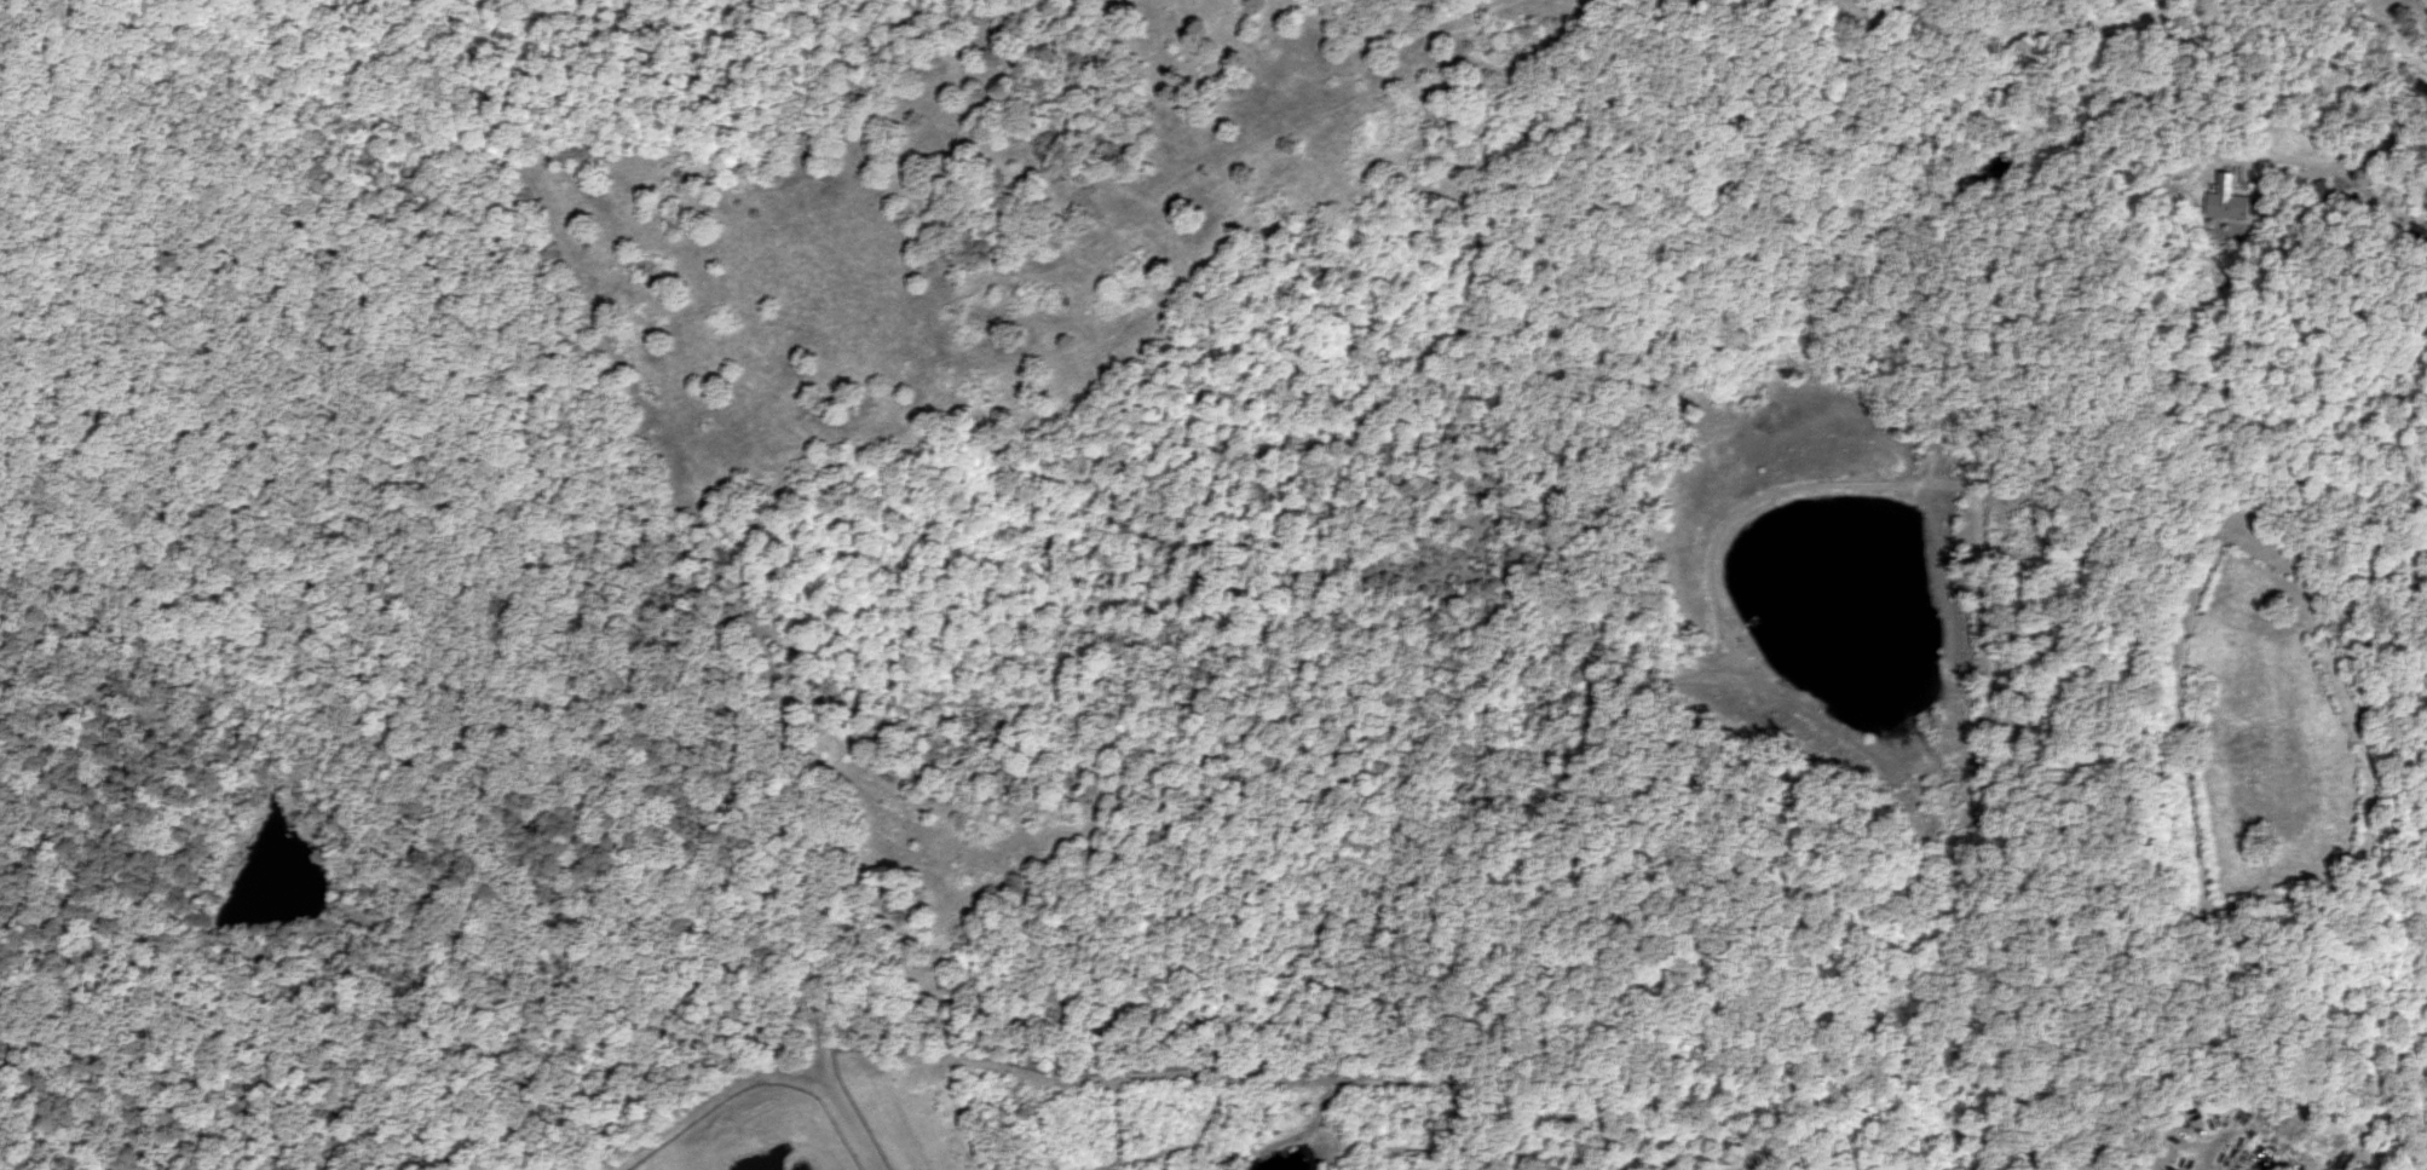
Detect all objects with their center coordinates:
building: (2230, 206)
road: (613, 601)
road: (432, 691)
building: (811, 1116)
road: (2048, 1116)
road: (208, 1140)

